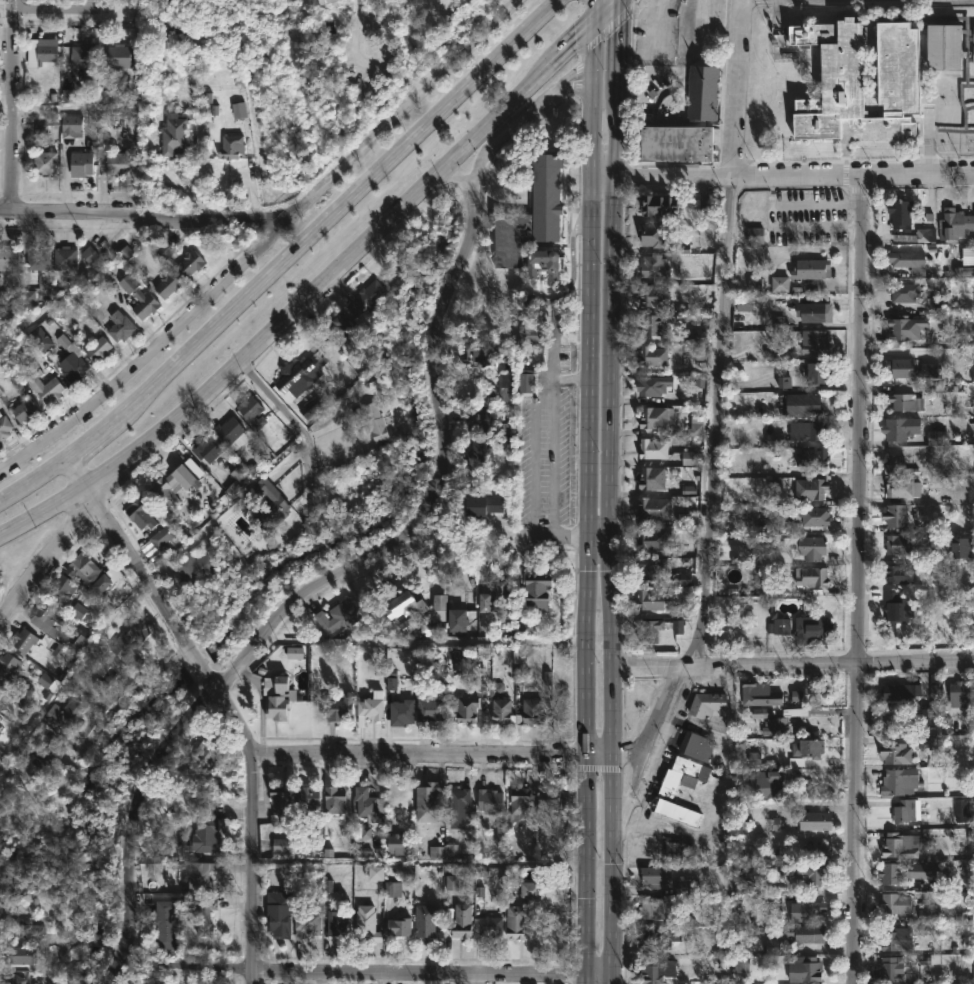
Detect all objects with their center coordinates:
traffic signals: (623, 0)
building: (324, 1)
road: (633, 3)
road: (512, 4)
road: (64, 9)
road: (596, 13)
road: (609, 13)
traffic signals: (596, 26)
road: (606, 29)
road: (594, 45)
building: (947, 45)
building: (39, 51)
building: (973, 53)
building: (120, 54)
building: (84, 59)
road: (366, 62)
road: (572, 73)
road: (578, 74)
building: (862, 81)
road: (574, 85)
building: (703, 93)
building: (114, 95)
road: (520, 96)
building: (970, 97)
road: (12, 104)
road: (6, 111)
building: (240, 114)
building: (71, 122)
building: (42, 131)
road: (503, 133)
building: (176, 134)
building: (231, 146)
building: (45, 162)
building: (117, 162)
building: (82, 163)
road: (783, 175)
road: (462, 180)
building: (661, 205)
road: (149, 211)
building: (533, 213)
building: (902, 213)
building: (955, 224)
building: (652, 234)
building: (916, 235)
road: (267, 244)
building: (91, 256)
building: (9, 257)
building: (65, 257)
road: (286, 257)
building: (40, 259)
building: (910, 261)
building: (190, 263)
building: (654, 264)
building: (546, 265)
building: (803, 272)
building: (167, 284)
building: (905, 291)
building: (656, 295)
building: (139, 296)
building: (369, 297)
building: (812, 310)
building: (654, 325)
building: (121, 326)
building: (906, 328)
building: (346, 331)
building: (40, 338)
building: (813, 340)
building: (98, 349)
building: (476, 353)
building: (653, 356)
building: (72, 360)
building: (902, 367)
road: (235, 369)
road: (551, 371)
building: (817, 373)
building: (300, 374)
road: (570, 378)
building: (527, 383)
building: (43, 384)
building: (653, 384)
road: (716, 399)
building: (903, 401)
road: (278, 402)
building: (805, 404)
building: (25, 410)
building: (252, 413)
building: (657, 417)
building: (477, 418)
building: (376, 421)
building: (5, 426)
building: (902, 427)
building: (695, 428)
building: (810, 429)
building: (231, 432)
building: (654, 448)
building: (208, 449)
building: (479, 450)
building: (811, 458)
road: (554, 464)
building: (895, 465)
building: (239, 479)
building: (653, 479)
building: (172, 485)
building: (906, 487)
building: (810, 489)
road: (608, 492)
building: (266, 494)
building: (484, 505)
building: (277, 506)
building: (655, 507)
building: (142, 514)
building: (896, 514)
building: (810, 515)
road: (586, 524)
building: (163, 535)
road: (551, 537)
building: (652, 539)
building: (909, 542)
building: (808, 546)
building: (963, 547)
building: (195, 566)
road: (47, 567)
building: (651, 567)
building: (89, 572)
building: (900, 575)
building: (812, 576)
road: (856, 579)
building: (63, 587)
road: (313, 587)
building: (538, 591)
building: (491, 598)
building: (649, 600)
building: (408, 605)
building: (897, 606)
road: (161, 607)
building: (338, 616)
building: (47, 617)
building: (438, 618)
building: (458, 621)
building: (779, 625)
building: (650, 628)
building: (813, 630)
building: (81, 639)
building: (23, 640)
building: (130, 641)
building: (8, 664)
road: (794, 664)
building: (2, 686)
building: (900, 690)
building: (1, 691)
building: (935, 691)
building: (961, 694)
building: (276, 695)
building: (761, 695)
building: (708, 703)
building: (340, 706)
building: (370, 706)
building: (467, 707)
road: (116, 708)
building: (430, 708)
building: (503, 710)
building: (532, 710)
building: (403, 711)
building: (69, 715)
building: (696, 745)
building: (210, 747)
building: (807, 749)
building: (47, 753)
building: (897, 753)
road: (434, 756)
building: (904, 781)
building: (777, 782)
building: (667, 791)
road: (631, 793)
building: (550, 797)
building: (336, 798)
building: (305, 799)
building: (429, 799)
building: (282, 800)
building: (491, 801)
building: (522, 801)
building: (369, 804)
building: (461, 807)
building: (907, 810)
building: (815, 819)
building: (201, 836)
building: (399, 842)
building: (899, 845)
building: (677, 849)
building: (815, 851)
road: (420, 864)
road: (254, 869)
building: (911, 871)
building: (812, 873)
building: (656, 874)
building: (201, 876)
building: (530, 888)
building: (896, 903)
building: (653, 907)
building: (811, 908)
building: (278, 914)
building: (206, 917)
building: (462, 920)
building: (337, 921)
building: (516, 921)
building: (309, 922)
building: (165, 923)
building: (366, 923)
building: (429, 923)
building: (488, 924)
building: (23, 926)
building: (400, 926)
building: (805, 933)
building: (662, 935)
road: (70, 937)
building: (893, 938)
building: (18, 954)
building: (890, 967)
building: (805, 968)
road: (360, 970)
building: (651, 970)

